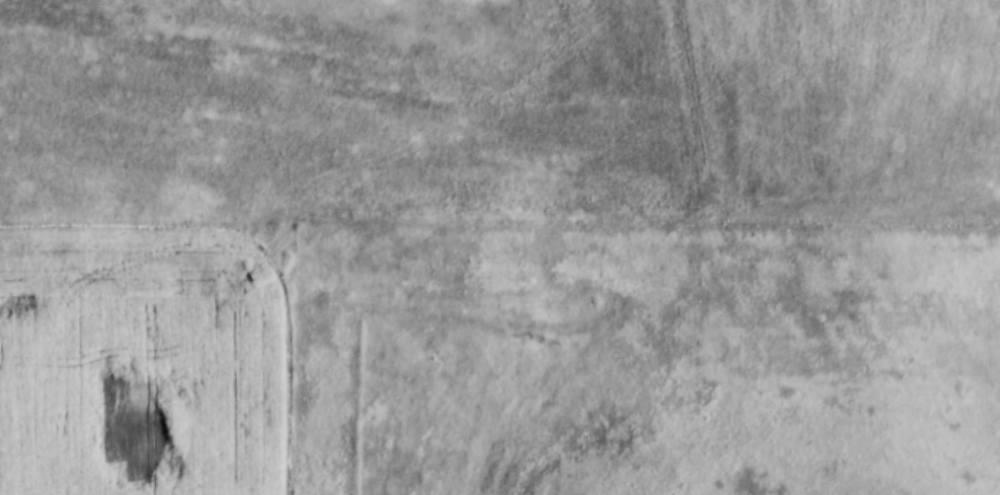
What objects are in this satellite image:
road: (696, 89)

